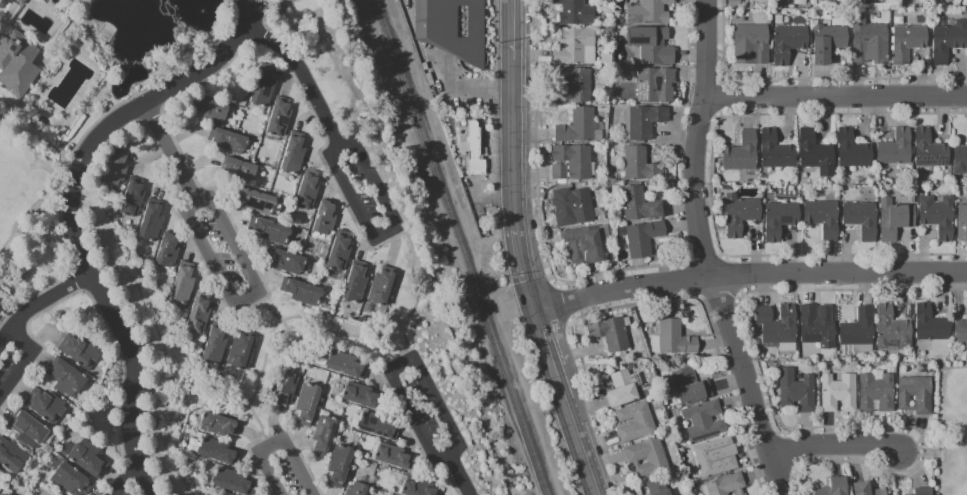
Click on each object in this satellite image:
building: (22, 2)
building: (576, 13)
building: (650, 13)
road: (263, 15)
building: (453, 29)
road: (510, 32)
building: (869, 42)
building: (948, 42)
building: (908, 44)
building: (574, 45)
building: (652, 45)
building: (789, 45)
building: (829, 45)
building: (752, 46)
building: (18, 65)
road: (194, 74)
road: (155, 82)
building: (575, 85)
road: (193, 86)
building: (657, 86)
building: (264, 87)
road: (834, 99)
building: (211, 110)
building: (280, 119)
building: (646, 123)
building: (580, 128)
road: (31, 133)
road: (334, 135)
building: (228, 142)
building: (474, 148)
road: (512, 148)
building: (896, 150)
building: (777, 151)
building: (853, 151)
building: (931, 151)
road: (169, 154)
building: (742, 154)
building: (816, 154)
building: (294, 155)
road: (320, 158)
building: (960, 161)
building: (571, 163)
building: (641, 167)
building: (117, 168)
building: (240, 171)
road: (370, 178)
building: (308, 192)
road: (73, 196)
building: (133, 199)
building: (255, 201)
building: (639, 206)
building: (577, 211)
building: (742, 215)
building: (939, 217)
building: (824, 218)
building: (325, 219)
building: (895, 220)
building: (780, 221)
building: (862, 221)
building: (152, 222)
road: (58, 223)
building: (962, 224)
building: (270, 232)
road: (696, 232)
building: (644, 239)
building: (585, 243)
railway: (460, 247)
building: (168, 252)
building: (340, 253)
road: (722, 253)
road: (722, 255)
building: (286, 262)
road: (82, 263)
road: (624, 269)
road: (522, 272)
road: (858, 272)
road: (76, 281)
building: (356, 284)
building: (183, 285)
building: (383, 287)
road: (641, 288)
road: (416, 291)
building: (302, 293)
road: (736, 293)
road: (738, 295)
road: (696, 296)
road: (739, 296)
road: (245, 298)
road: (26, 300)
road: (39, 303)
road: (642, 303)
road: (560, 304)
building: (0, 313)
building: (199, 315)
building: (778, 326)
building: (931, 326)
building: (817, 330)
building: (859, 330)
building: (893, 331)
road: (331, 333)
building: (961, 333)
road: (559, 334)
building: (611, 335)
road: (31, 336)
road: (543, 339)
building: (677, 340)
building: (216, 346)
road: (266, 347)
building: (241, 351)
building: (81, 352)
road: (24, 358)
building: (346, 366)
road: (166, 368)
building: (67, 378)
road: (125, 383)
building: (691, 387)
building: (285, 391)
building: (622, 391)
building: (798, 392)
building: (840, 394)
building: (877, 394)
building: (916, 396)
building: (363, 397)
road: (394, 401)
road: (228, 403)
road: (405, 404)
building: (308, 405)
building: (46, 407)
road: (438, 409)
building: (705, 422)
building: (636, 424)
building: (219, 426)
building: (377, 427)
road: (883, 427)
park: (950, 427)
road: (572, 430)
building: (29, 431)
building: (324, 437)
road: (276, 442)
road: (831, 447)
building: (218, 453)
road: (785, 453)
road: (928, 454)
building: (12, 457)
building: (394, 458)
road: (441, 458)
building: (647, 458)
building: (715, 459)
building: (89, 460)
building: (340, 467)
road: (446, 473)
road: (457, 475)
road: (769, 475)
road: (119, 481)
building: (72, 482)
building: (233, 483)
building: (728, 486)
building: (658, 487)
building: (418, 488)
building: (835, 488)
building: (358, 489)
building: (866, 490)
building: (924, 492)
building: (1, 493)

